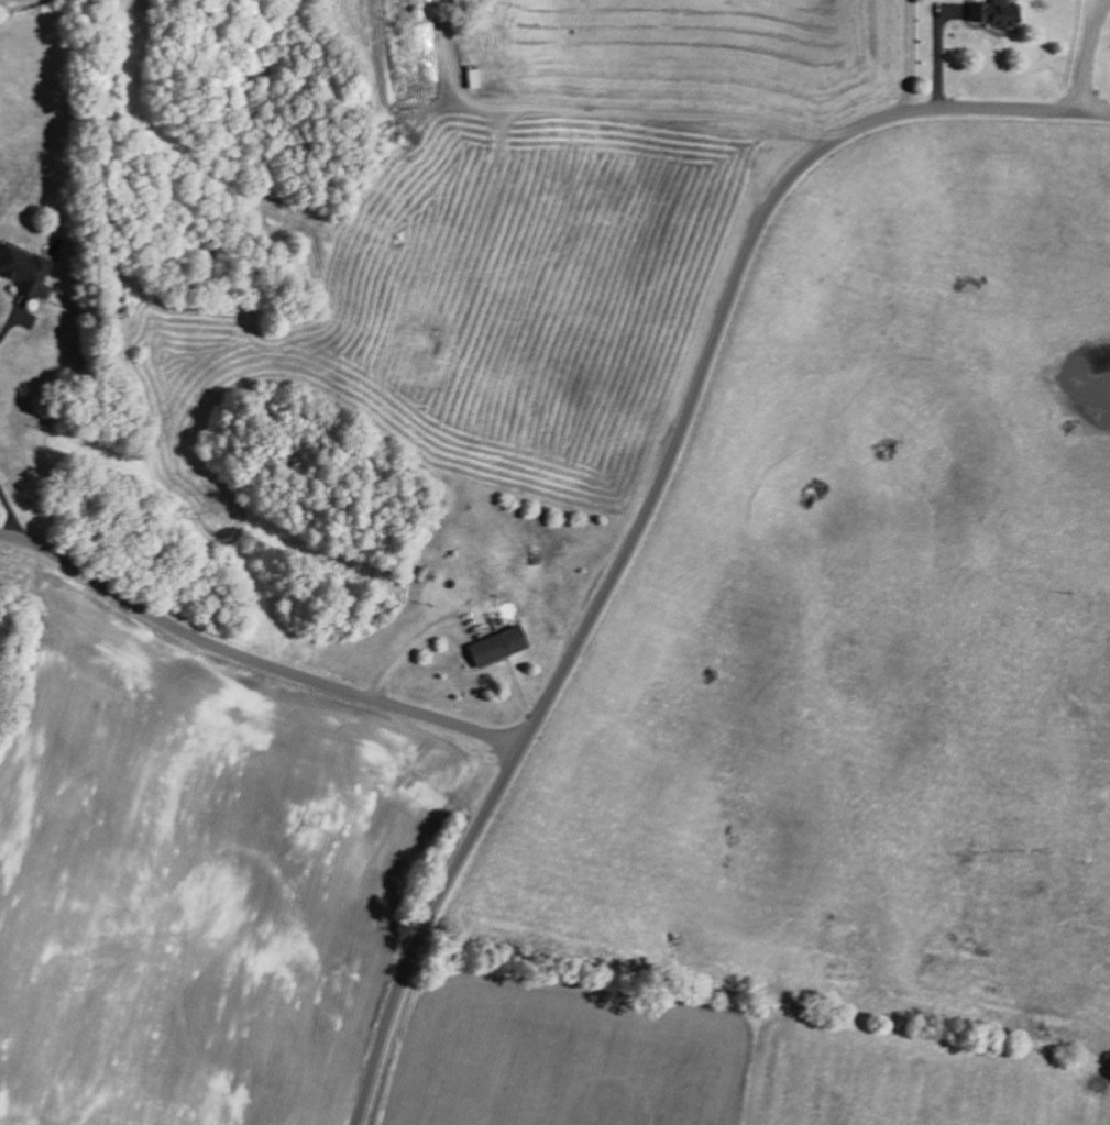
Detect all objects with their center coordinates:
building: (993, 11)
building: (24, 268)
road: (650, 501)
building: (495, 644)
road: (251, 660)

